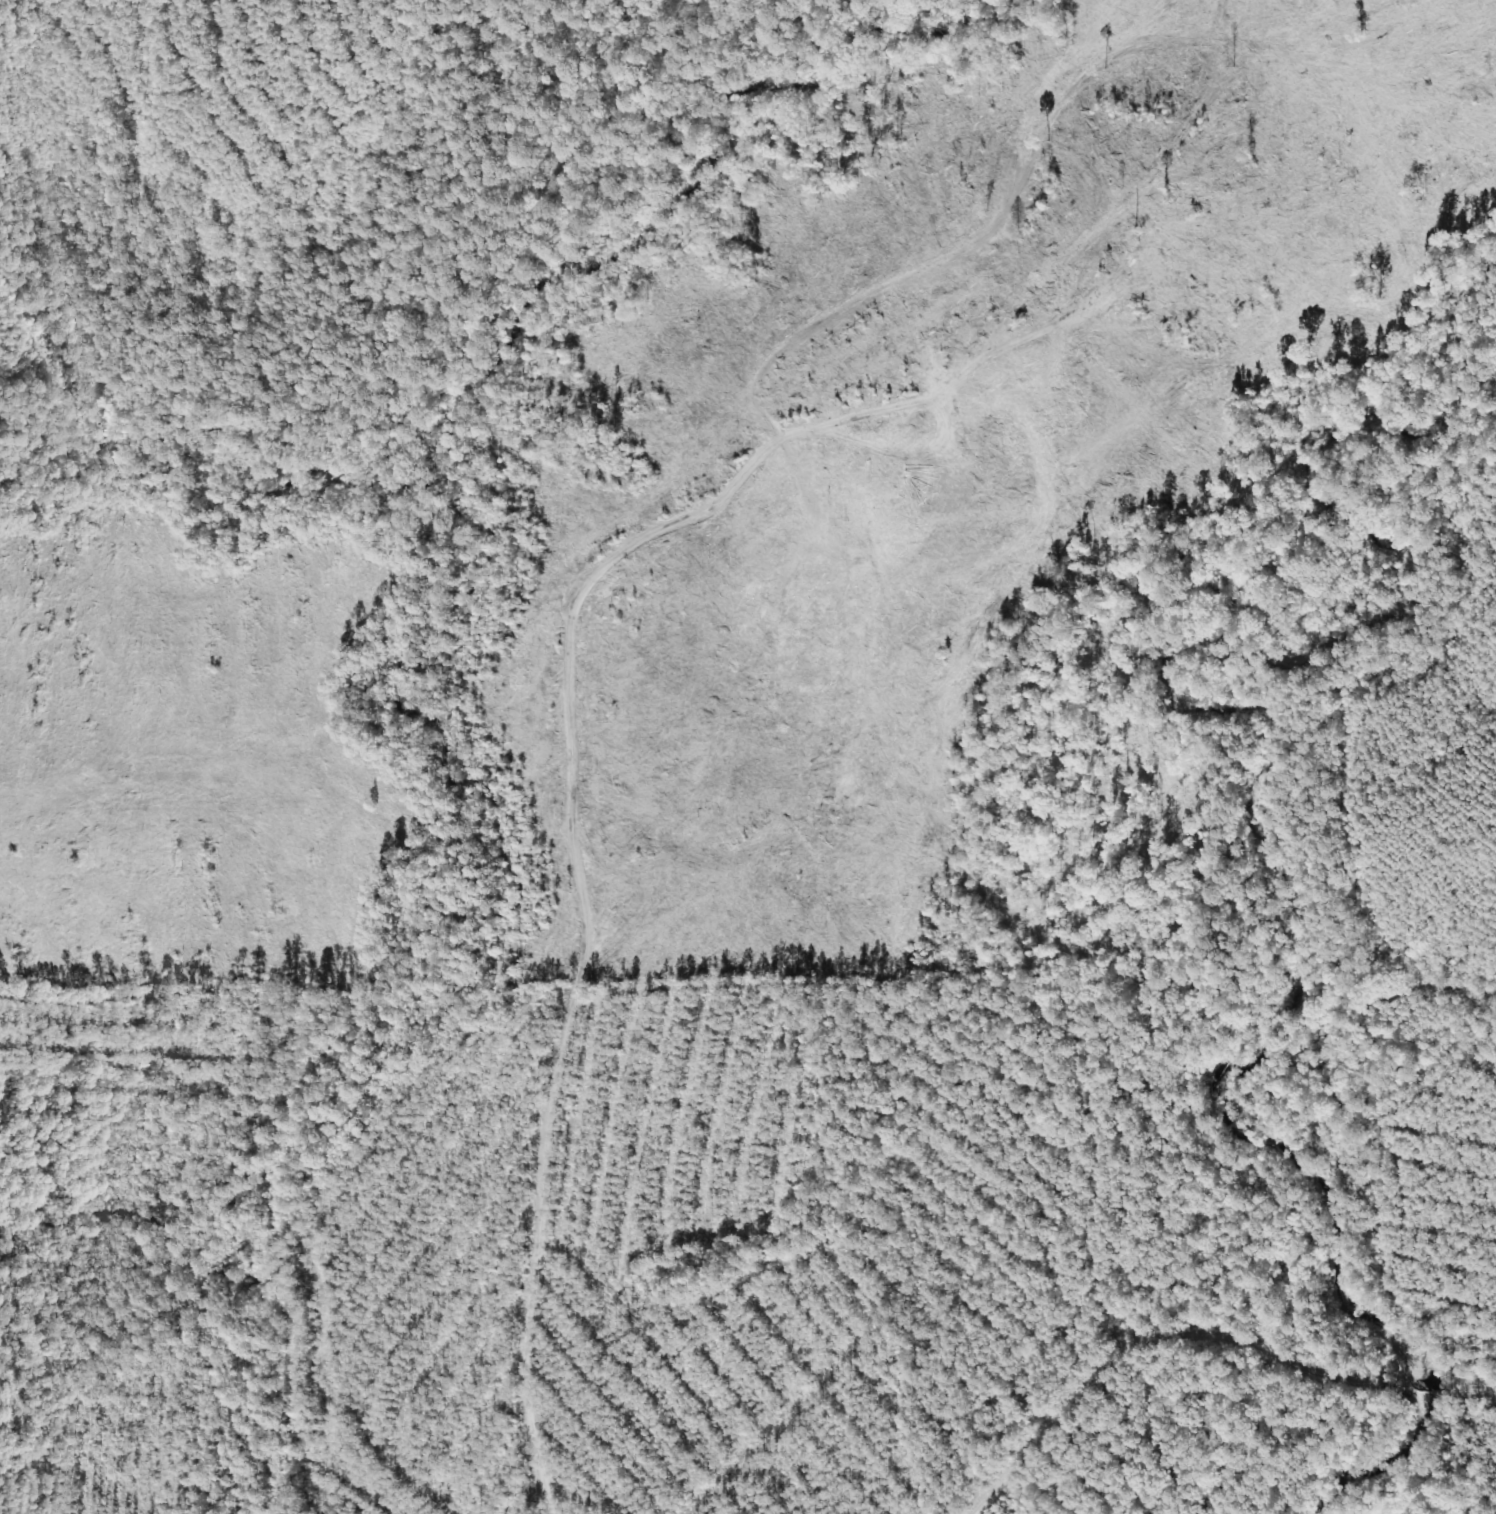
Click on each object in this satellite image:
road: (1189, 1373)

